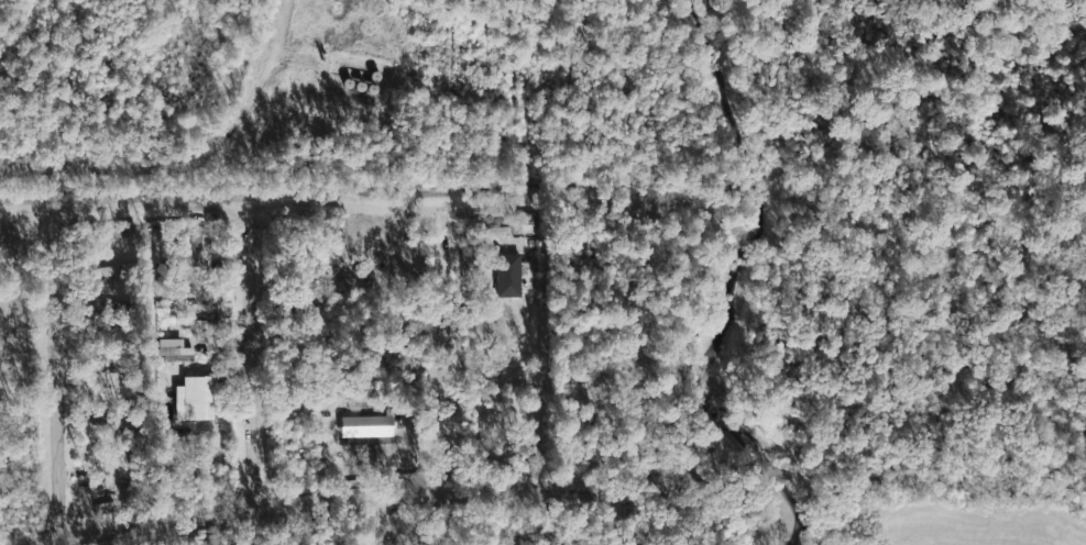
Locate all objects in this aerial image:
road: (323, 78)
road: (261, 81)
road: (106, 162)
building: (198, 247)
building: (113, 272)
building: (507, 274)
building: (194, 324)
building: (174, 349)
road: (442, 353)
road: (252, 359)
road: (57, 379)
building: (195, 398)
road: (382, 497)

